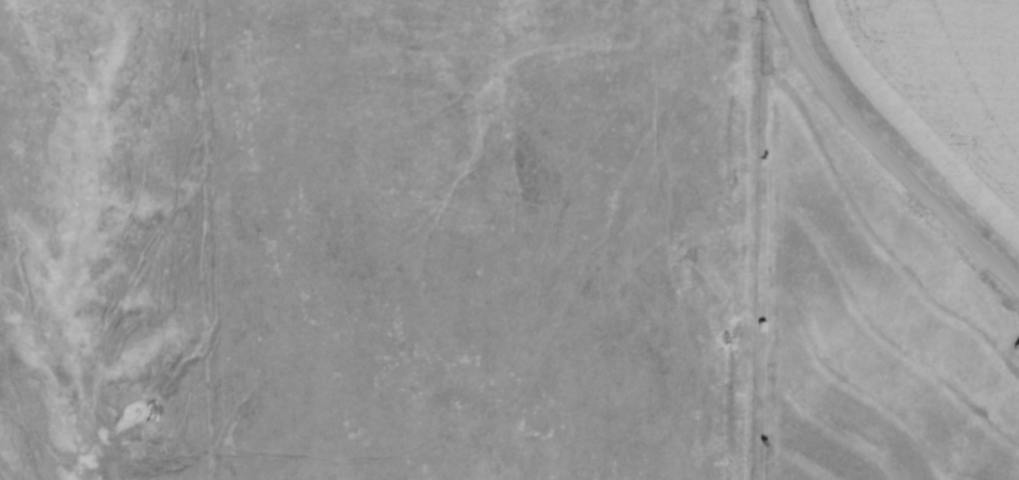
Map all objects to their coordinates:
road: (884, 153)

